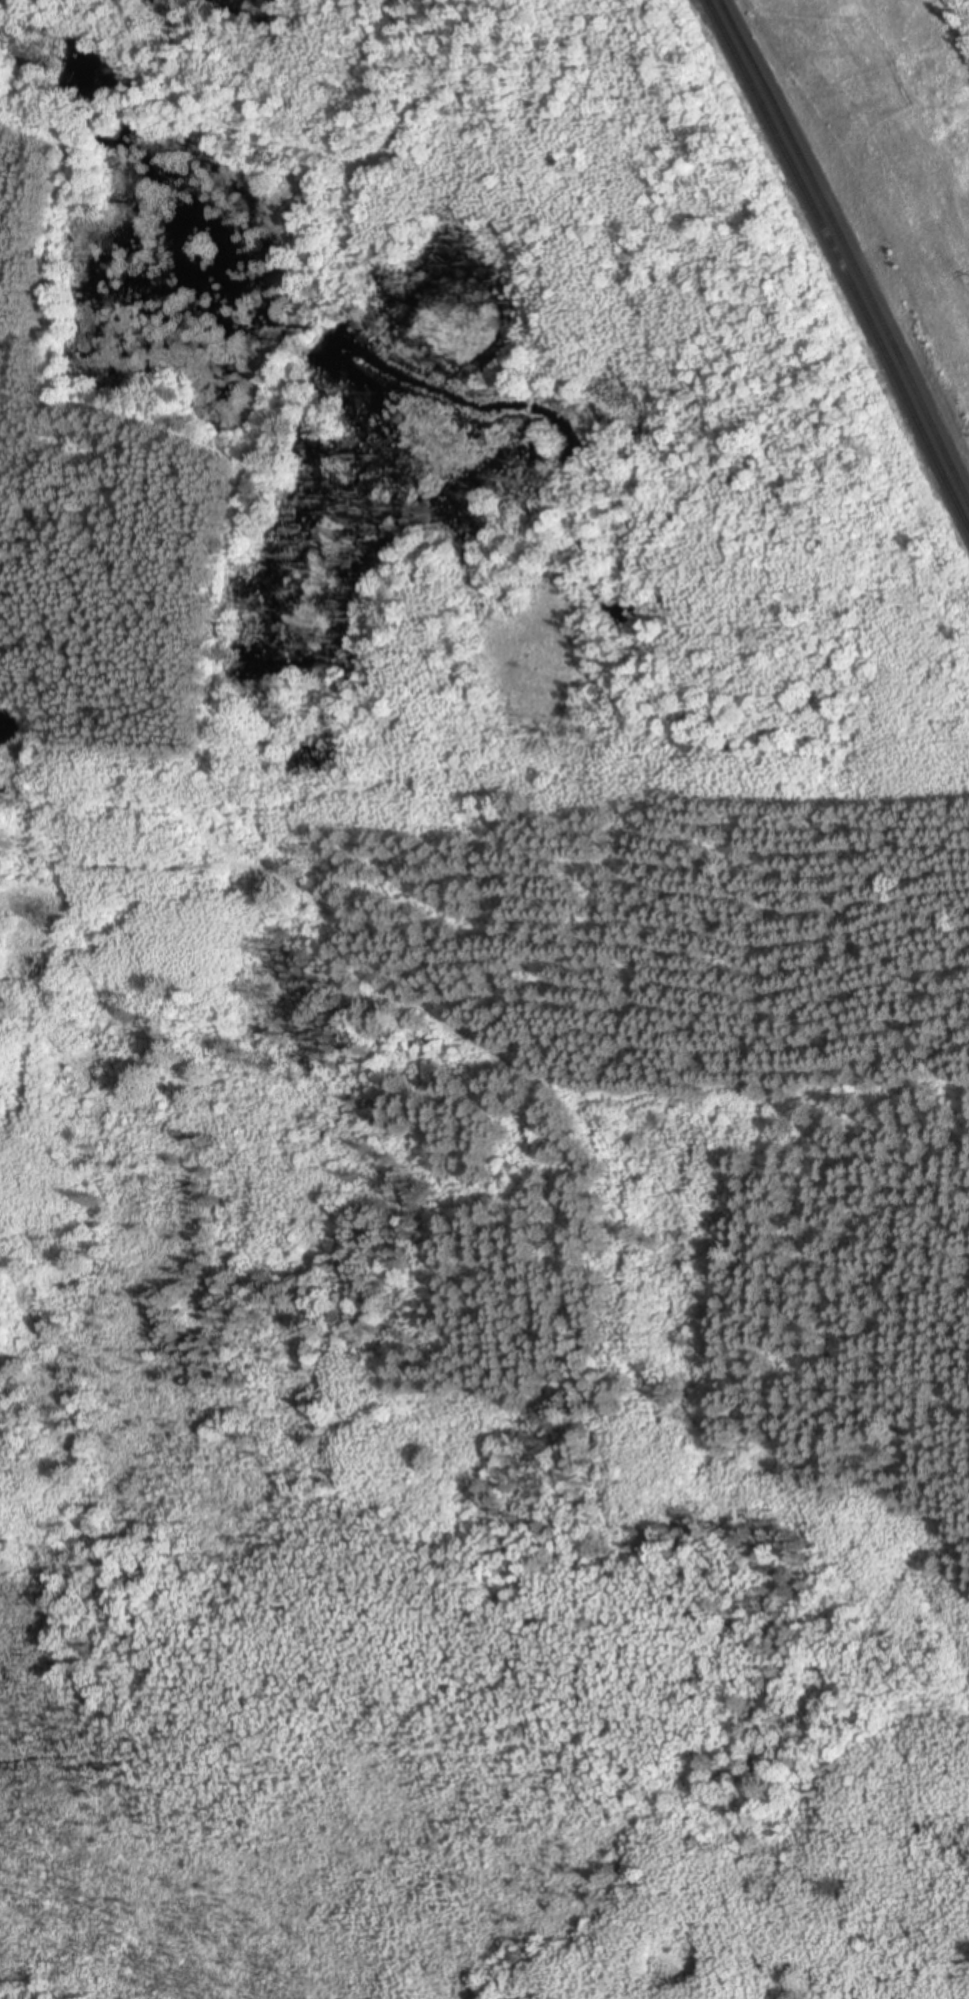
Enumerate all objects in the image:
railway: (843, 250)
railway: (835, 267)

